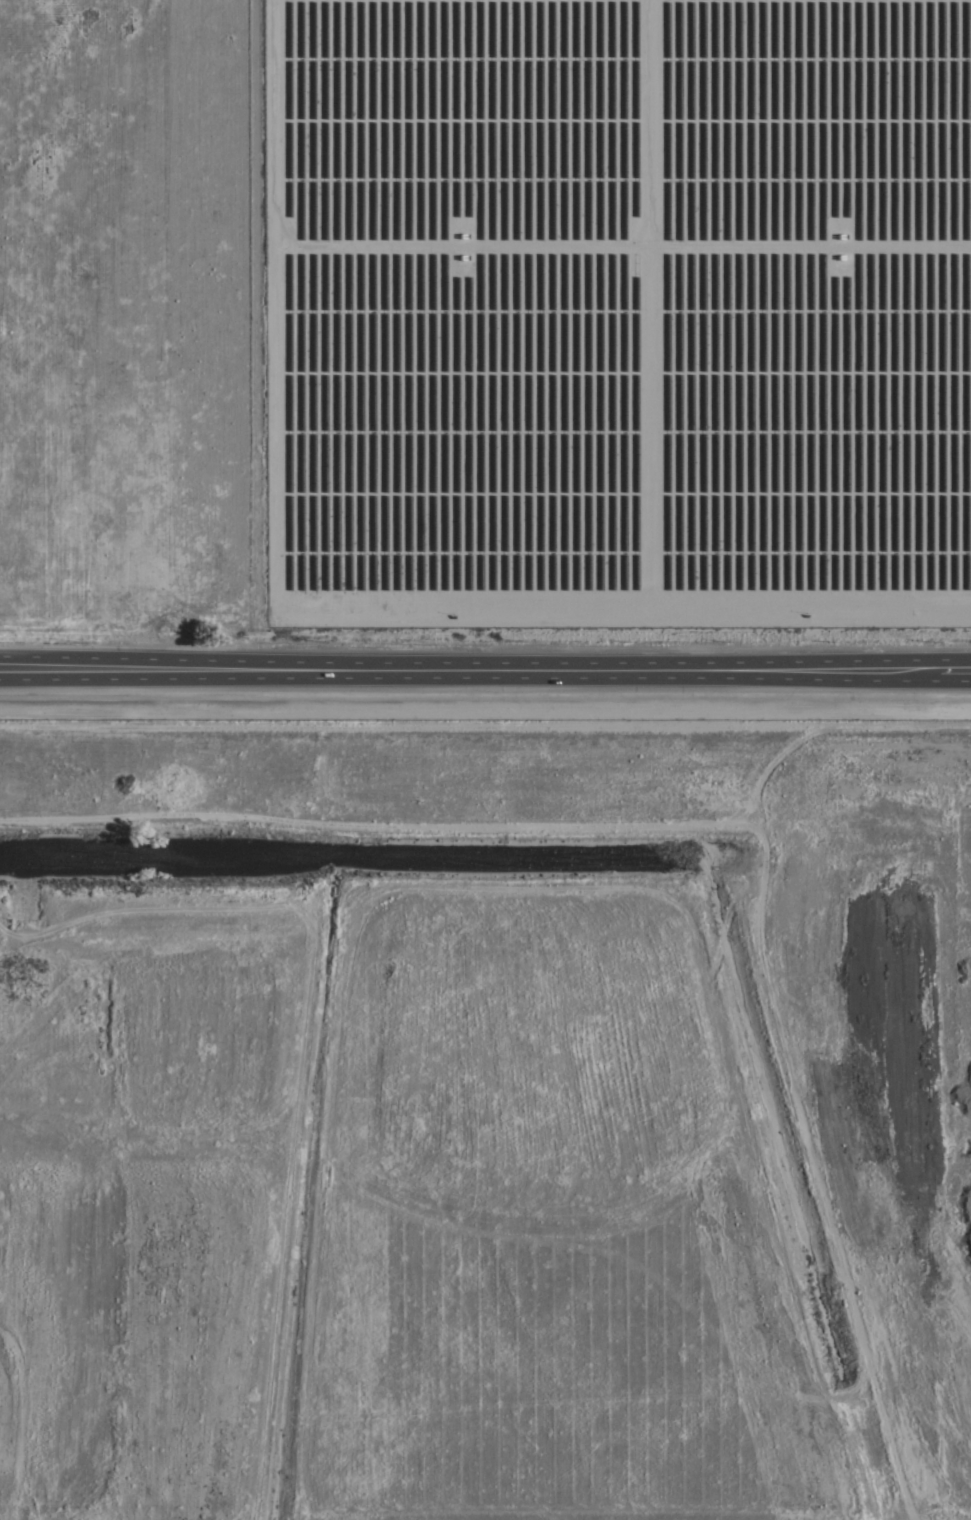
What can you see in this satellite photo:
solar farm: (617, 313)
crop: (487, 344)
road: (485, 673)

